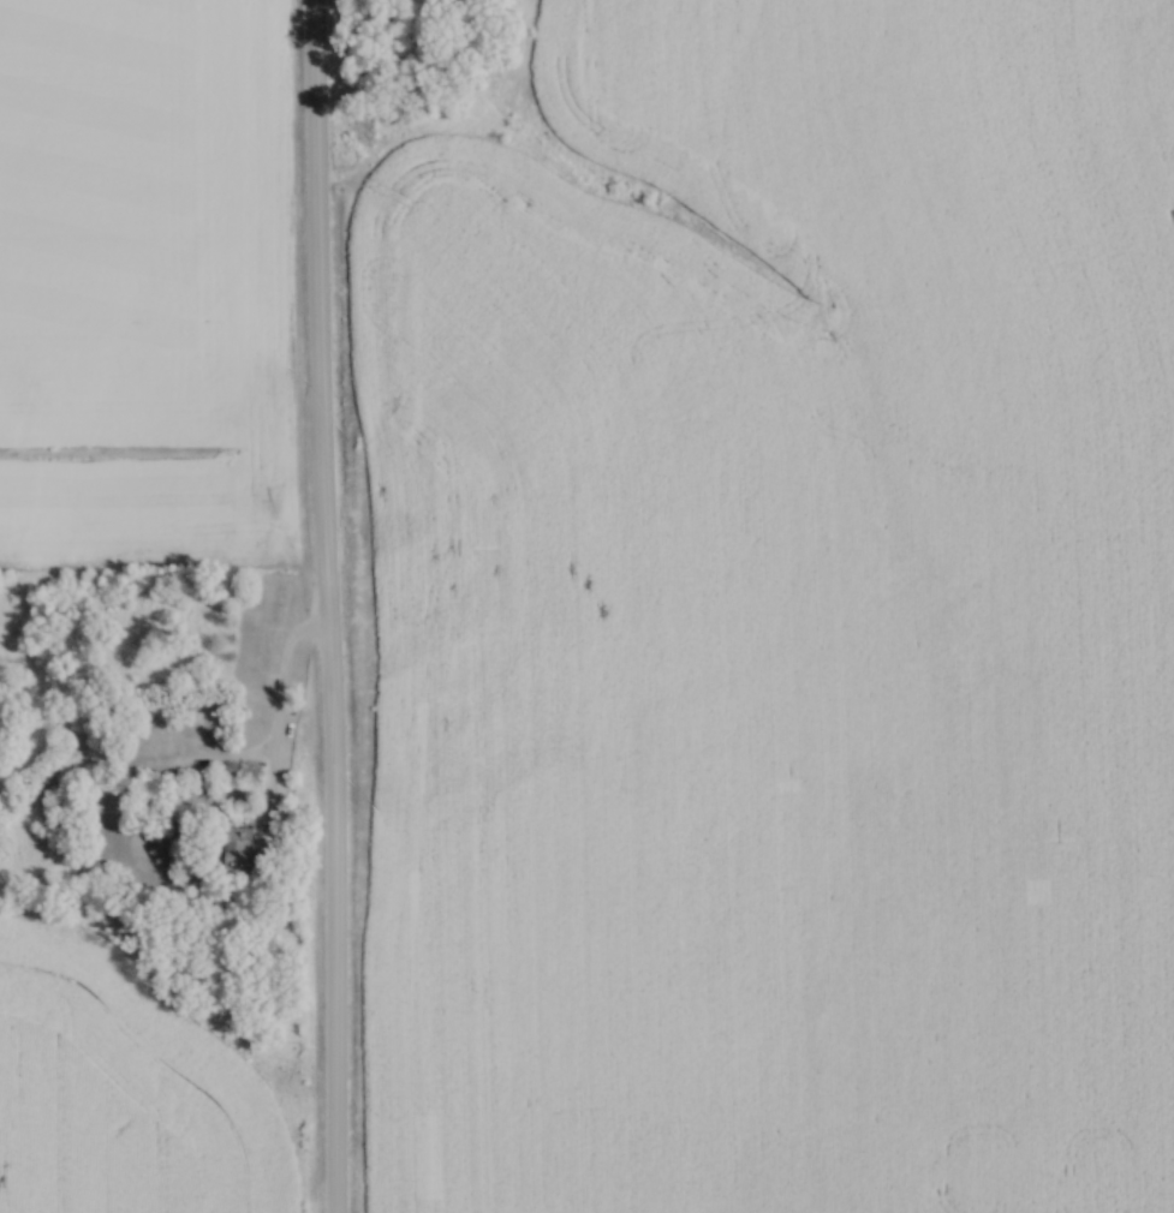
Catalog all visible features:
road: (326, 605)
road: (276, 771)
building: (77, 823)
building: (246, 850)

